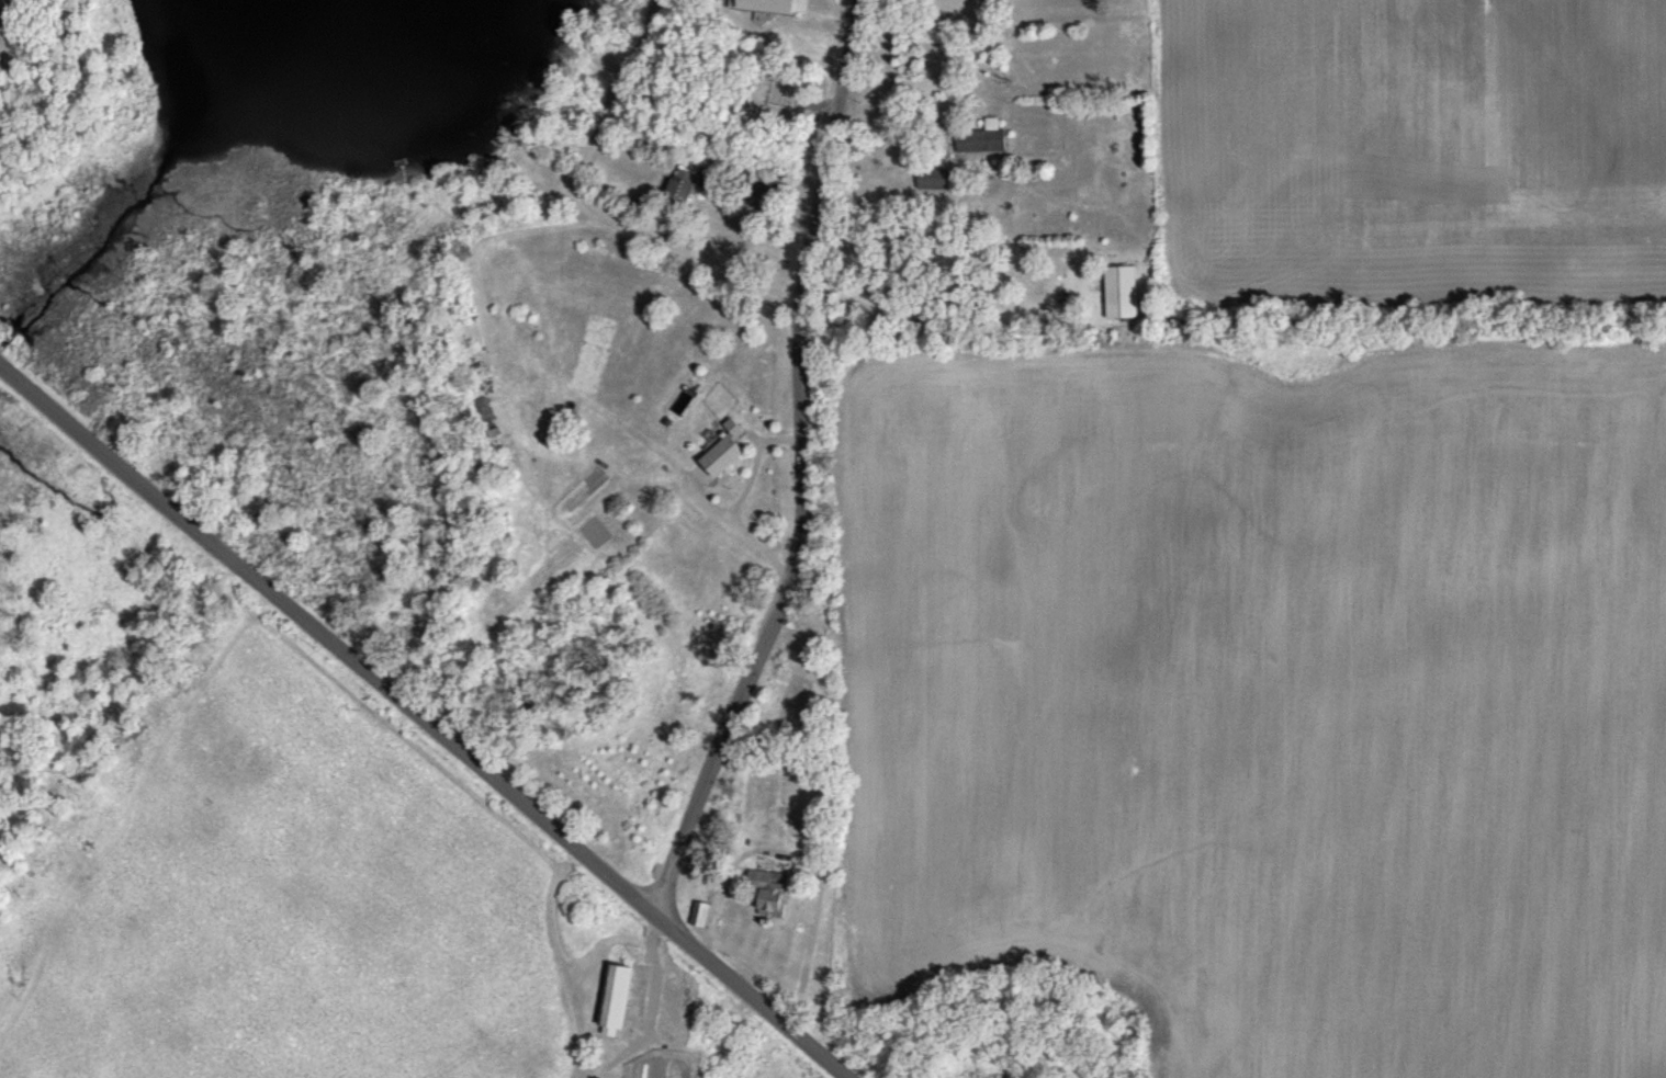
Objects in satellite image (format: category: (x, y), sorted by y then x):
building: (979, 138)
building: (930, 179)
building: (678, 185)
building: (1118, 291)
building: (717, 456)
road: (800, 466)
building: (471, 603)
road: (425, 720)
building: (767, 892)
building: (699, 915)
building: (612, 997)

